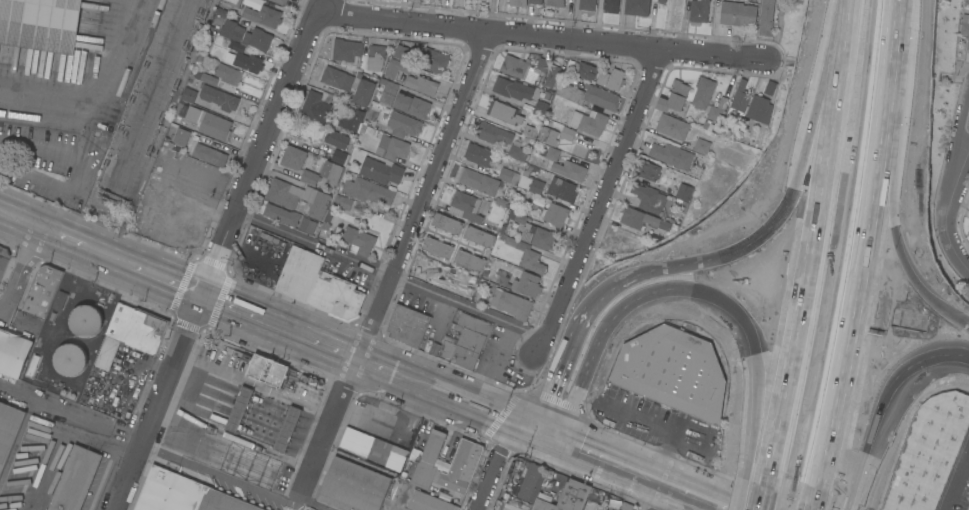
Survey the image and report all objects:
building: (535, 1)
building: (662, 1)
building: (233, 2)
building: (280, 2)
building: (518, 3)
building: (555, 3)
building: (587, 5)
building: (611, 5)
building: (637, 7)
building: (698, 11)
building: (737, 13)
building: (263, 15)
building: (766, 17)
building: (40, 24)
building: (965, 27)
building: (246, 35)
road: (542, 37)
building: (236, 46)
building: (347, 51)
building: (401, 52)
building: (375, 57)
building: (433, 60)
road: (780, 60)
building: (245, 61)
building: (396, 68)
building: (524, 68)
building: (587, 71)
building: (222, 77)
building: (552, 77)
building: (616, 79)
road: (954, 79)
building: (336, 80)
building: (421, 84)
building: (769, 87)
building: (512, 88)
building: (387, 91)
building: (364, 92)
road: (820, 92)
building: (703, 93)
building: (189, 94)
building: (588, 95)
building: (674, 96)
building: (219, 97)
building: (739, 99)
building: (315, 103)
road: (108, 104)
building: (412, 105)
building: (541, 107)
building: (757, 107)
building: (717, 109)
building: (504, 111)
building: (353, 120)
building: (205, 121)
building: (590, 121)
road: (959, 122)
building: (403, 124)
building: (673, 126)
building: (529, 131)
building: (492, 132)
building: (567, 133)
building: (181, 136)
building: (548, 136)
building: (337, 139)
building: (702, 145)
building: (393, 147)
road: (260, 150)
road: (965, 150)
building: (518, 152)
building: (551, 153)
building: (478, 154)
building: (210, 155)
building: (672, 155)
building: (293, 157)
building: (340, 157)
road: (895, 159)
road: (78, 170)
building: (381, 170)
building: (570, 170)
building: (649, 170)
building: (322, 173)
building: (508, 175)
building: (477, 180)
building: (533, 185)
building: (562, 189)
building: (368, 190)
building: (684, 191)
building: (298, 197)
building: (647, 197)
building: (342, 201)
road: (600, 202)
building: (468, 206)
building: (281, 214)
building: (556, 214)
building: (516, 216)
road: (943, 216)
building: (638, 218)
building: (169, 222)
building: (447, 223)
building: (307, 225)
building: (968, 232)
building: (478, 236)
building: (539, 236)
road: (51, 239)
building: (359, 241)
building: (641, 241)
road: (313, 243)
building: (437, 247)
road: (825, 247)
road: (859, 252)
building: (527, 254)
road: (399, 256)
road: (725, 256)
building: (3, 260)
building: (469, 260)
road: (18, 273)
building: (299, 273)
road: (150, 281)
building: (523, 283)
road: (672, 286)
building: (42, 290)
building: (336, 296)
building: (60, 300)
traffic signals: (197, 301)
building: (511, 303)
road: (468, 307)
road: (954, 313)
building: (86, 320)
storage tank: (86, 320)
road: (19, 321)
traffic signals: (747, 324)
building: (407, 325)
road: (277, 330)
building: (130, 332)
building: (466, 342)
road: (567, 351)
building: (13, 353)
road: (921, 357)
building: (70, 359)
storage tank: (70, 359)
building: (33, 365)
building: (267, 369)
building: (673, 371)
road: (576, 391)
road: (444, 396)
road: (768, 403)
road: (155, 405)
building: (238, 409)
building: (286, 428)
building: (8, 430)
traffic signals: (530, 432)
road: (666, 433)
road: (60, 439)
building: (356, 441)
road: (853, 446)
building: (928, 452)
building: (396, 457)
building: (428, 460)
road: (494, 462)
building: (461, 466)
road: (622, 467)
building: (75, 479)
building: (531, 482)
building: (353, 486)
road: (958, 486)
building: (183, 494)
building: (564, 497)
road: (662, 497)
road: (755, 498)
road: (774, 500)
building: (428, 502)
building: (591, 505)
building: (627, 506)
road: (810, 506)
road: (721, 507)
building: (510, 508)
building: (408, 509)

